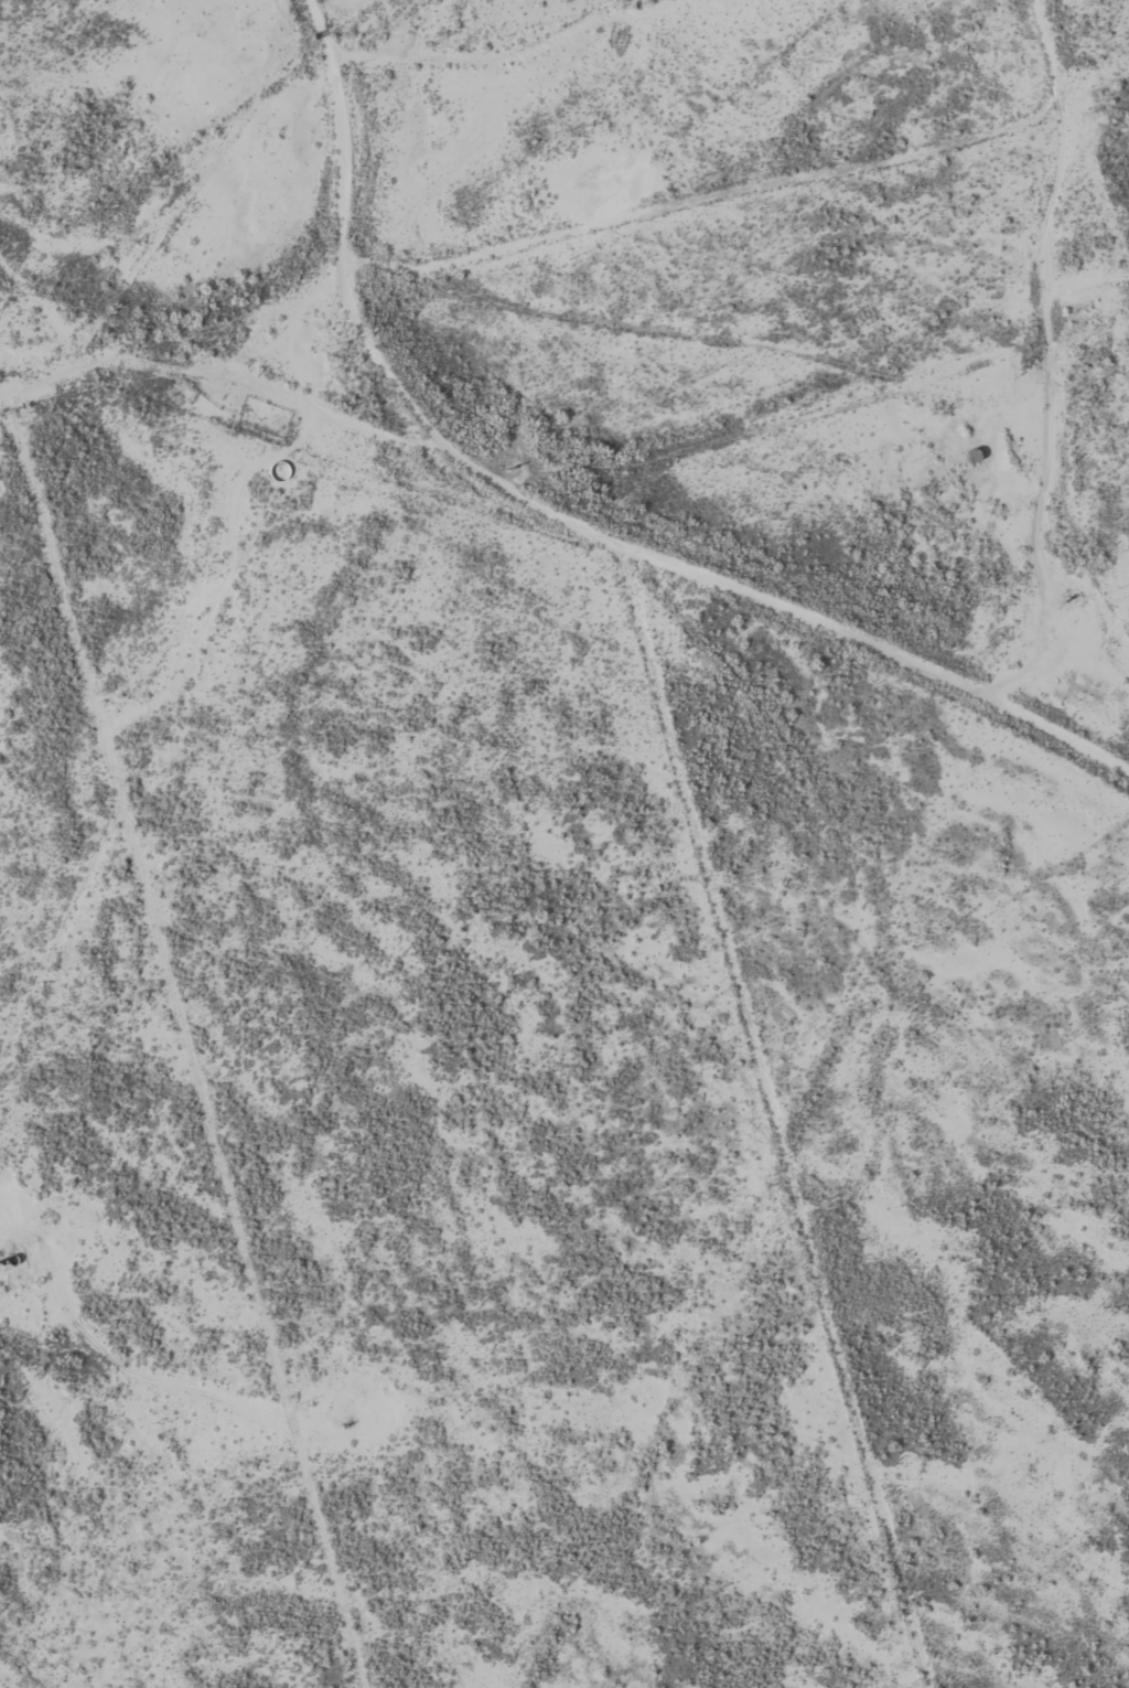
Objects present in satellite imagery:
road: (486, 49)
road: (346, 147)
road: (745, 189)
road: (175, 338)
road: (783, 426)
road: (1052, 453)
road: (703, 578)
road: (163, 1376)

